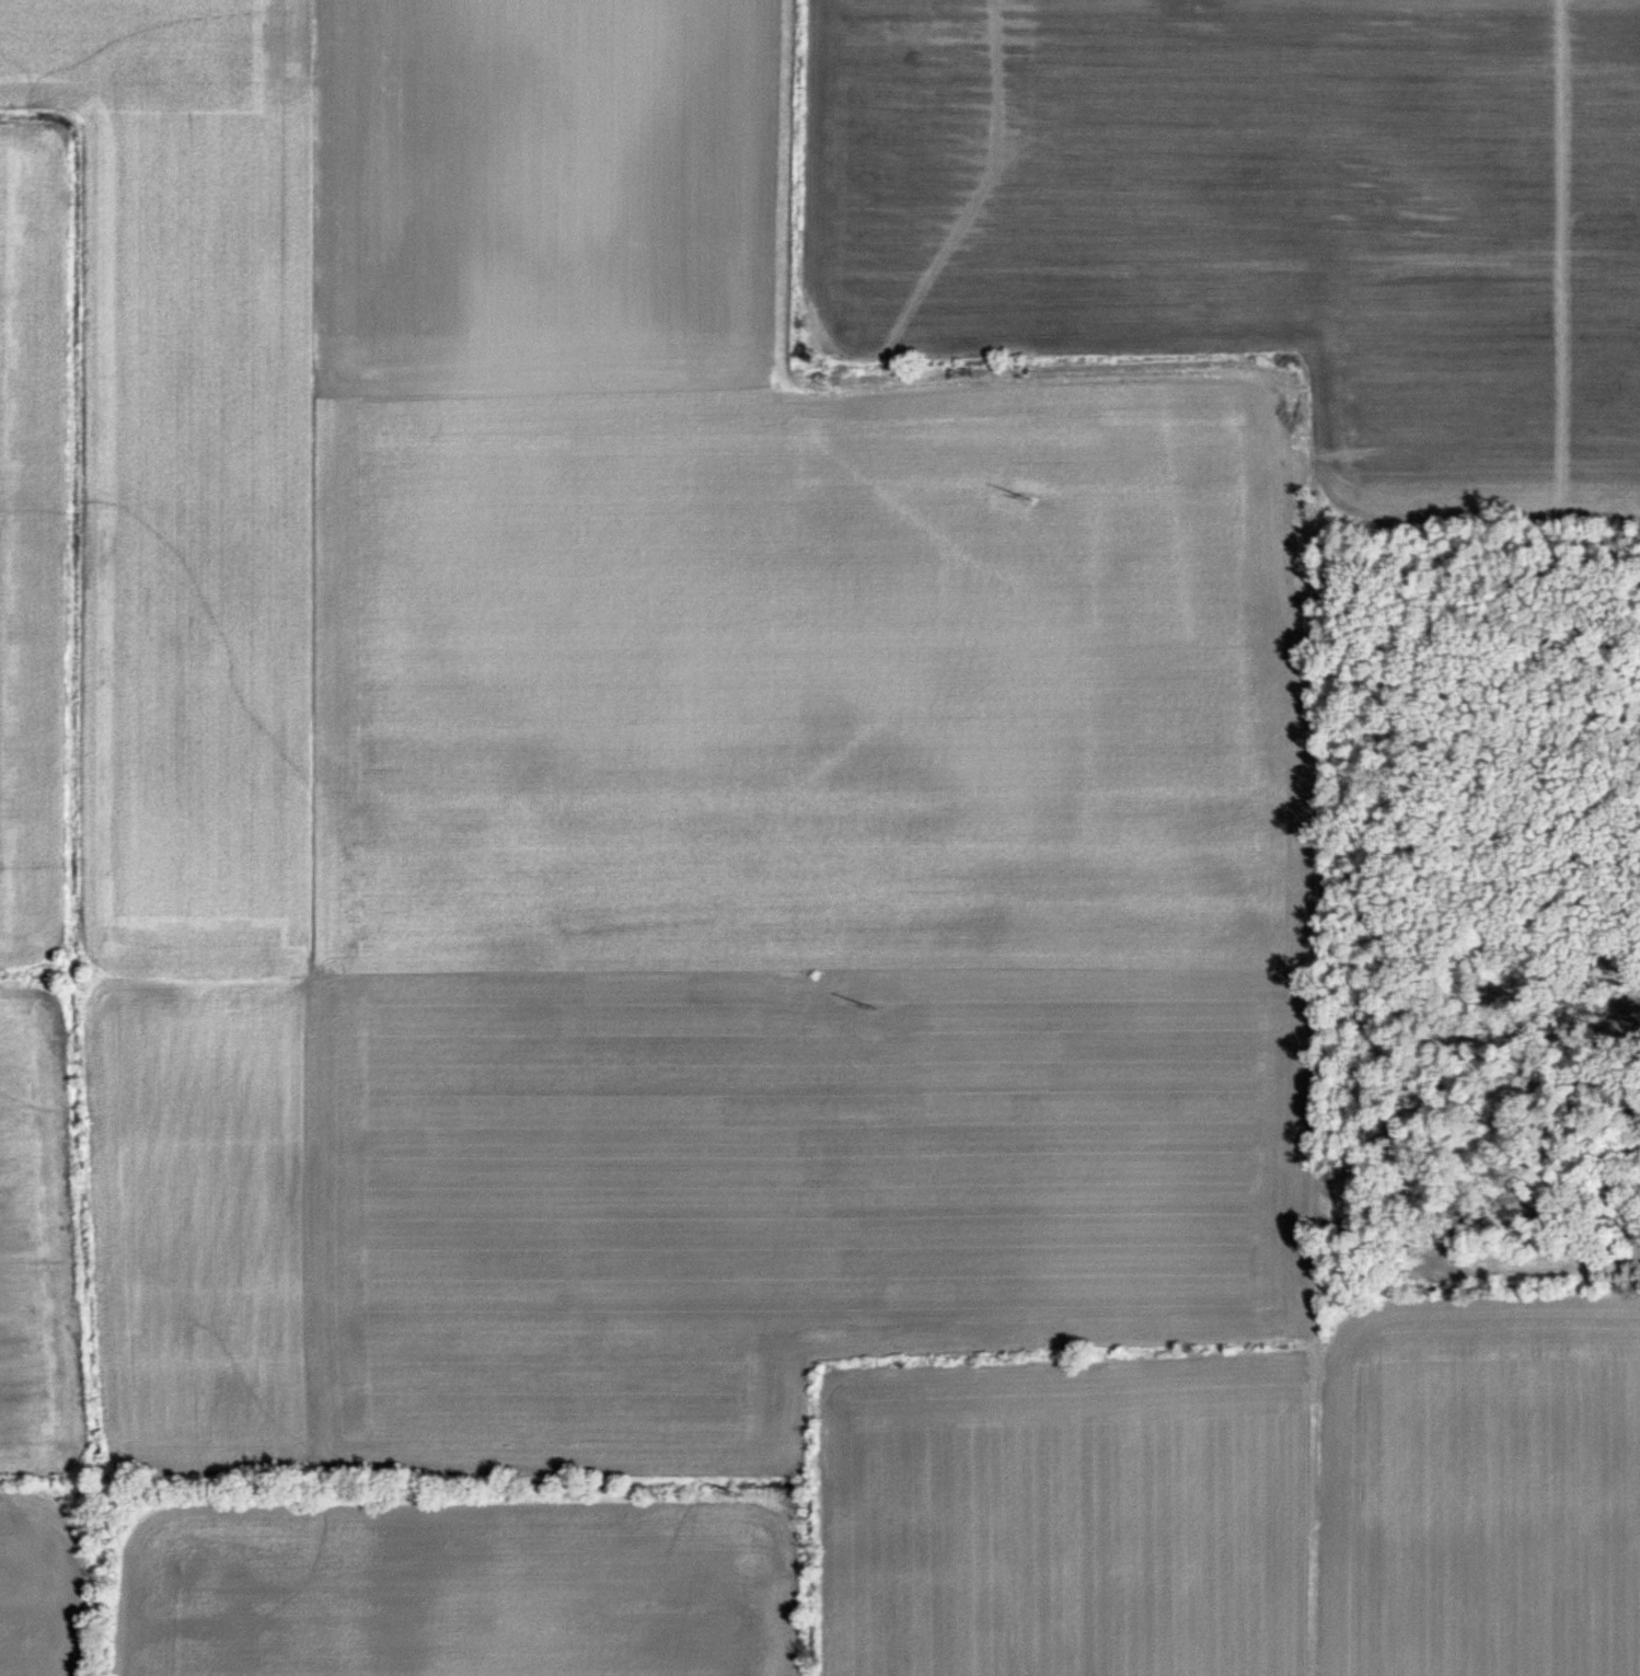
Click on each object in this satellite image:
power tower: (1024, 496)
power tower: (869, 1004)
power tower: (728, 1499)

